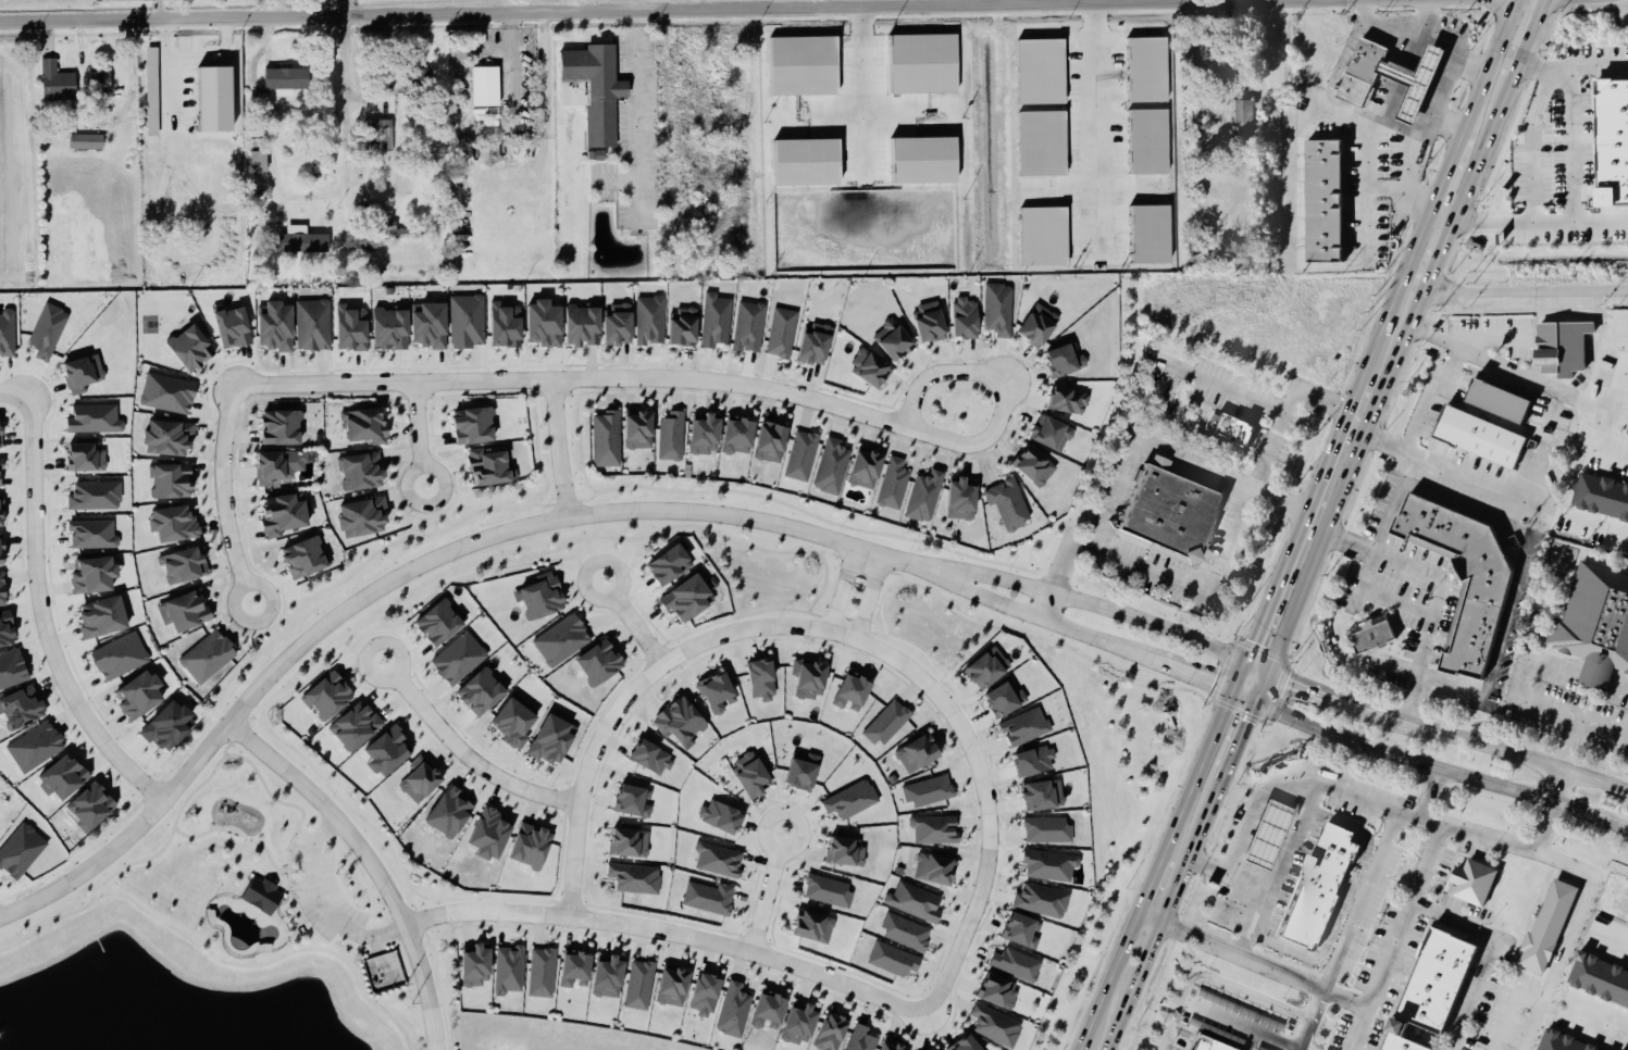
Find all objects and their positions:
road: (1376, 1)
road: (1276, 2)
road: (954, 3)
road: (824, 4)
road: (906, 4)
road: (707, 5)
road: (340, 9)
road: (718, 10)
road: (1422, 29)
road: (1524, 39)
road: (213, 59)
road: (1490, 63)
building: (804, 66)
building: (922, 66)
road: (543, 67)
road: (165, 70)
building: (1147, 70)
road: (1468, 70)
road: (1569, 70)
building: (1039, 72)
building: (1362, 73)
building: (285, 80)
building: (1414, 82)
building: (101, 83)
building: (58, 84)
building: (485, 87)
building: (595, 92)
building: (151, 93)
road: (343, 97)
building: (213, 100)
road: (637, 115)
road: (1430, 117)
building: (1243, 120)
building: (386, 130)
road: (1095, 132)
building: (1145, 142)
building: (87, 143)
road: (1532, 143)
building: (1041, 145)
building: (1614, 145)
road: (1567, 146)
road: (1480, 148)
building: (923, 161)
building: (807, 163)
building: (260, 164)
road: (1447, 167)
building: (1323, 200)
road: (1442, 211)
road: (1539, 223)
building: (1148, 235)
building: (1042, 237)
building: (302, 245)
road: (1437, 254)
road: (1525, 292)
road: (1395, 293)
building: (999, 310)
building: (967, 318)
building: (650, 321)
building: (717, 321)
building: (468, 322)
building: (931, 323)
building: (546, 324)
park: (149, 325)
building: (314, 325)
building: (431, 325)
building: (584, 325)
building: (620, 325)
building: (277, 326)
building: (506, 326)
building: (1040, 326)
building: (234, 327)
building: (684, 327)
building: (750, 327)
building: (353, 328)
building: (393, 328)
building: (8, 333)
building: (48, 333)
building: (783, 334)
building: (894, 340)
building: (817, 343)
building: (1566, 347)
building: (191, 348)
building: (1067, 361)
road: (1451, 366)
building: (871, 368)
building: (83, 373)
road: (1549, 378)
road: (722, 384)
road: (1214, 384)
road: (15, 392)
building: (169, 395)
road: (1625, 396)
building: (1070, 401)
building: (1497, 402)
building: (96, 420)
road: (1417, 422)
building: (475, 425)
building: (368, 426)
building: (283, 428)
building: (1233, 429)
building: (641, 430)
building: (1053, 434)
building: (1, 435)
building: (707, 435)
building: (672, 437)
building: (741, 437)
building: (1478, 437)
building: (171, 438)
road: (421, 438)
building: (607, 440)
building: (773, 443)
road: (560, 450)
road: (1164, 455)
building: (803, 457)
building: (87, 458)
building: (279, 466)
building: (1035, 466)
building: (489, 467)
building: (832, 467)
building: (868, 468)
road: (1452, 468)
building: (361, 472)
building: (1, 474)
building: (172, 482)
road: (1344, 483)
building: (894, 485)
building: (1602, 496)
building: (96, 497)
road: (227, 497)
building: (925, 497)
building: (964, 500)
road: (1393, 501)
building: (1008, 504)
building: (285, 515)
building: (2, 516)
building: (1170, 516)
building: (364, 518)
road: (1583, 520)
road: (542, 522)
road: (1303, 522)
building: (175, 524)
building: (94, 535)
building: (2, 552)
building: (306, 559)
building: (183, 565)
building: (671, 565)
road: (1216, 570)
building: (95, 576)
building: (1468, 576)
road: (841, 588)
road: (1442, 588)
building: (544, 597)
road: (869, 597)
building: (689, 599)
road: (1082, 605)
building: (185, 612)
road: (41, 615)
building: (104, 617)
road: (632, 622)
building: (440, 624)
building: (1596, 625)
building: (8, 629)
road: (1072, 630)
building: (1376, 637)
building: (562, 640)
building: (121, 658)
building: (209, 658)
building: (460, 659)
traffic signals: (1245, 662)
building: (601, 663)
road: (1256, 667)
building: (12, 670)
building: (989, 670)
traffic signals: (1268, 673)
road: (1239, 677)
road: (1595, 677)
building: (811, 678)
building: (763, 680)
road: (1620, 686)
road: (1262, 688)
traffic signals: (1232, 692)
building: (483, 693)
building: (719, 693)
building: (854, 693)
building: (140, 696)
road: (627, 696)
building: (328, 697)
road: (1244, 698)
building: (1006, 700)
road: (1530, 701)
traffic signals: (1256, 703)
road: (256, 712)
building: (682, 721)
building: (517, 723)
building: (886, 724)
building: (171, 726)
building: (357, 727)
building: (1026, 727)
road: (239, 732)
road: (1447, 735)
building: (554, 741)
road: (1571, 746)
road: (1236, 747)
road: (225, 749)
building: (389, 752)
road: (464, 754)
building: (919, 755)
building: (653, 759)
building: (1036, 762)
road: (1201, 770)
road: (1440, 770)
building: (805, 773)
building: (753, 776)
building: (422, 780)
road: (1555, 787)
road: (196, 789)
building: (929, 792)
building: (1044, 796)
road: (1309, 796)
road: (337, 797)
road: (985, 799)
building: (852, 801)
building: (634, 802)
road: (285, 803)
building: (92, 807)
road: (1254, 809)
building: (451, 814)
building: (723, 817)
road: (235, 829)
building: (935, 830)
building: (1046, 830)
road: (1475, 833)
building: (493, 835)
building: (1267, 836)
road: (127, 837)
building: (630, 843)
building: (533, 847)
building: (846, 853)
building: (719, 861)
road: (136, 862)
road: (370, 862)
building: (1051, 866)
building: (934, 870)
road: (286, 871)
road: (296, 871)
road: (275, 876)
building: (636, 878)
road: (1155, 880)
building: (1472, 883)
road: (1263, 885)
building: (1319, 888)
building: (829, 892)
road: (770, 895)
building: (262, 896)
road: (480, 897)
building: (1614, 898)
building: (708, 899)
road: (1344, 900)
road: (411, 901)
building: (1043, 901)
road: (554, 902)
building: (916, 903)
road: (324, 905)
road: (300, 910)
road: (1152, 918)
road: (1164, 920)
road: (1352, 921)
road: (47, 922)
road: (421, 922)
building: (815, 927)
building: (1546, 928)
building: (1022, 932)
road: (671, 934)
building: (906, 934)
road: (1570, 934)
road: (1611, 934)
road: (1396, 937)
road: (428, 940)
park: (200, 941)
road: (1490, 957)
building: (894, 961)
road: (266, 963)
building: (1017, 965)
road: (1265, 965)
building: (477, 966)
building: (577, 970)
building: (509, 971)
building: (543, 974)
building: (610, 977)
road: (1215, 978)
building: (1601, 979)
road: (1111, 982)
building: (1441, 984)
building: (641, 986)
building: (675, 987)
building: (998, 992)
building: (707, 996)
road: (1511, 1010)
building: (734, 1011)
building: (771, 1013)
road: (1595, 1016)
road: (1235, 1024)
building: (803, 1025)
building: (996, 1026)
building: (833, 1033)
building: (861, 1039)
building: (968, 1045)
building: (1207, 1045)
building: (894, 1046)

